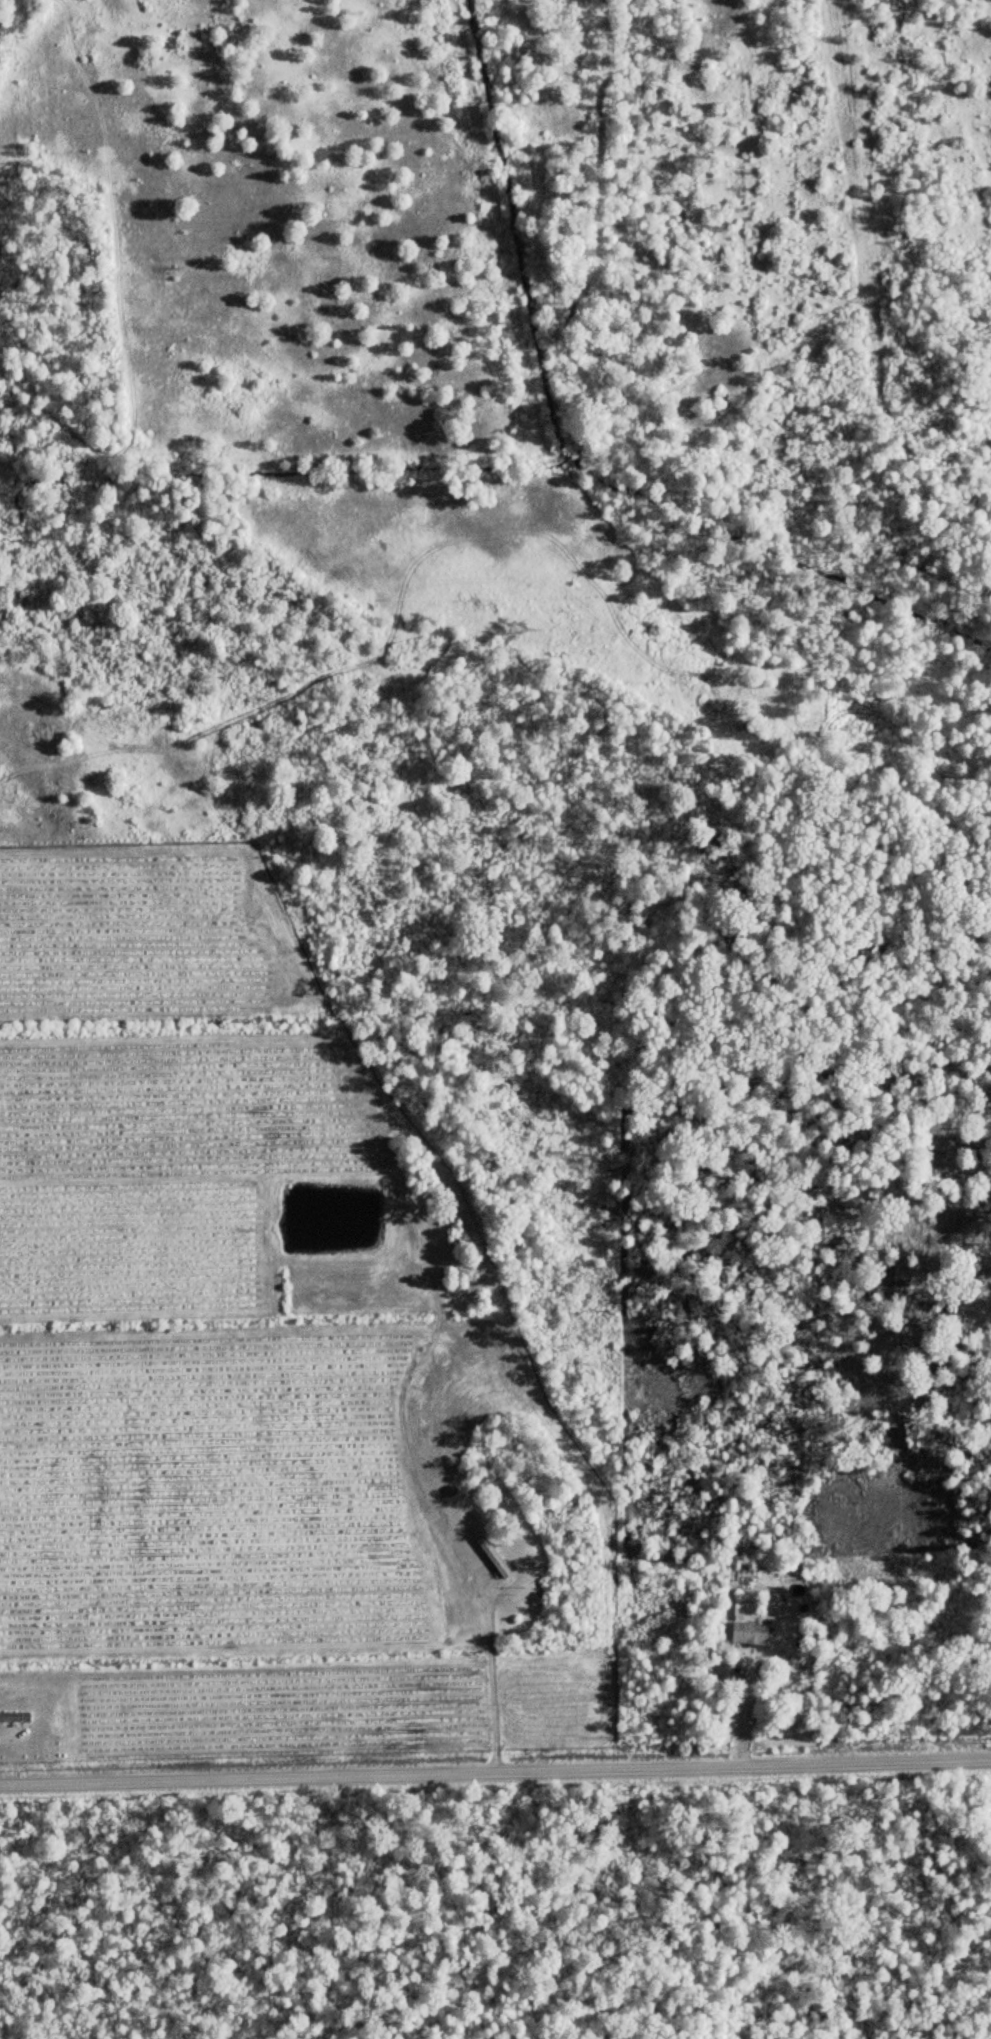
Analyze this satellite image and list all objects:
building: (428, 1375)
building: (495, 1557)
building: (751, 1635)
road: (491, 1676)
road: (745, 1714)
building: (15, 1718)
road: (495, 1773)

